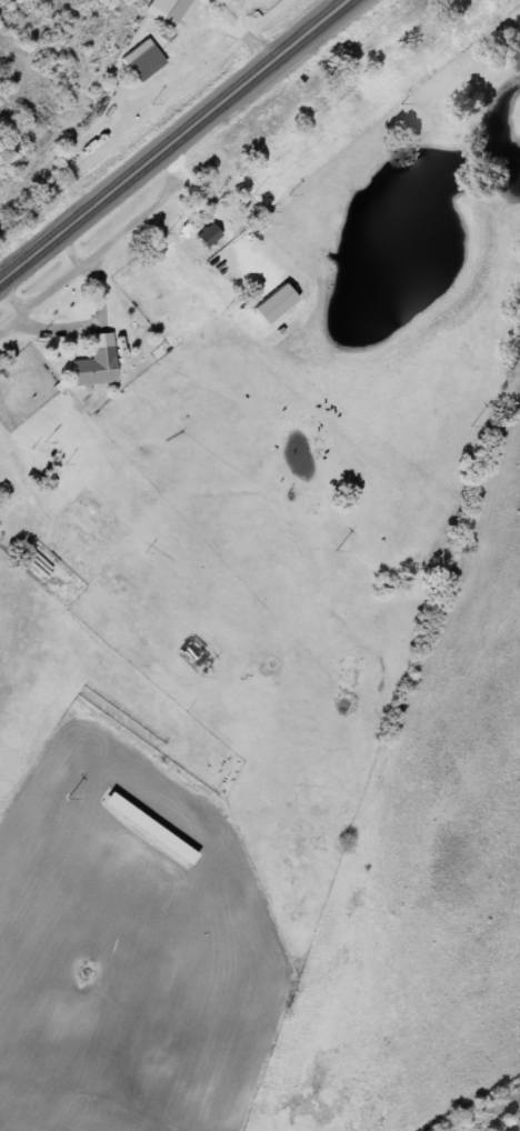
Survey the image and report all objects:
building: (164, 8)
building: (137, 58)
road: (173, 138)
building: (202, 234)
building: (89, 367)
building: (142, 828)

